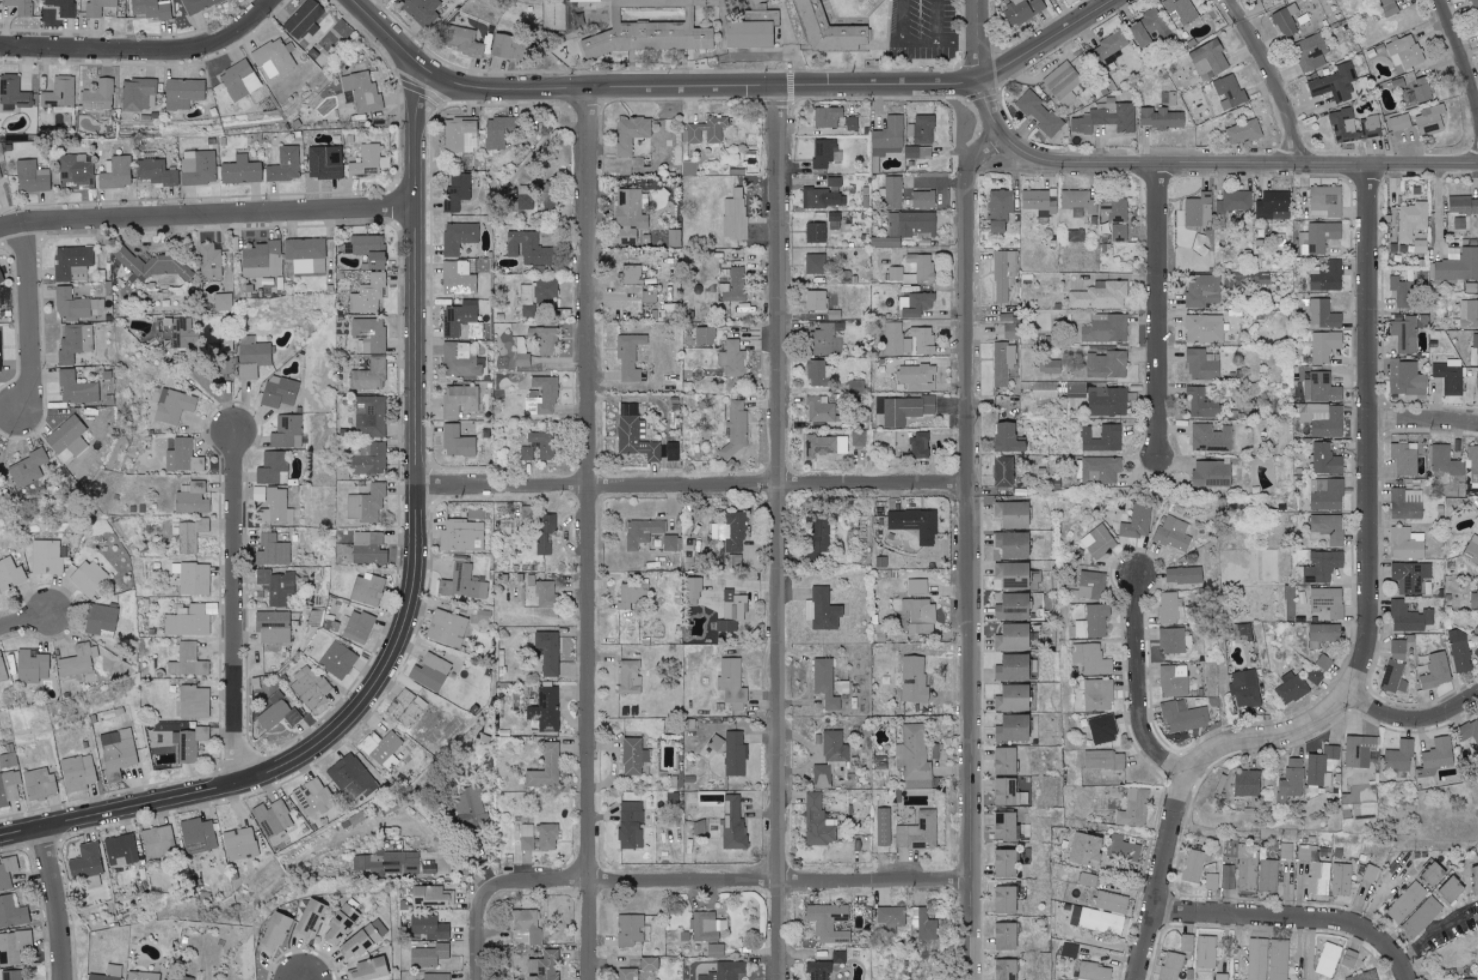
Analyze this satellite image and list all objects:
building: (582, 1)
building: (1472, 2)
building: (196, 5)
building: (756, 5)
building: (19, 7)
building: (61, 7)
building: (96, 7)
building: (1386, 7)
building: (149, 9)
building: (419, 10)
building: (1020, 10)
building: (1179, 10)
building: (552, 16)
building: (1477, 19)
building: (302, 20)
building: (1284, 20)
road: (936, 23)
building: (648, 28)
parking lot: (923, 29)
building: (1146, 29)
building: (750, 30)
building: (826, 30)
building: (463, 41)
road: (978, 41)
building: (1107, 46)
building: (505, 47)
road: (915, 47)
road: (143, 50)
building: (1403, 52)
building: (1308, 53)
road: (1461, 53)
building: (272, 58)
building: (1207, 60)
road: (1280, 78)
building: (237, 80)
building: (1060, 80)
building: (1333, 84)
road: (731, 87)
building: (1420, 89)
building: (1227, 90)
building: (361, 91)
building: (181, 92)
building: (12, 93)
building: (137, 93)
building: (58, 94)
building: (97, 95)
building: (1037, 114)
building: (825, 116)
building: (1158, 118)
building: (1104, 119)
building: (1427, 120)
building: (850, 122)
building: (1398, 122)
building: (1341, 125)
building: (1370, 126)
building: (920, 129)
building: (705, 130)
building: (497, 131)
building: (1241, 132)
building: (458, 133)
building: (629, 133)
building: (887, 136)
building: (916, 152)
building: (824, 153)
building: (366, 161)
building: (323, 162)
building: (283, 165)
road: (1203, 165)
building: (196, 167)
building: (239, 170)
building: (73, 171)
building: (113, 172)
building: (152, 172)
building: (30, 176)
building: (0, 177)
building: (455, 191)
building: (822, 195)
building: (524, 197)
building: (921, 199)
building: (1233, 201)
building: (1323, 201)
building: (1076, 202)
building: (1036, 204)
building: (1461, 204)
building: (1271, 205)
building: (1113, 208)
building: (997, 209)
building: (1197, 210)
building: (627, 214)
building: (733, 214)
road: (208, 217)
building: (1410, 219)
building: (832, 220)
building: (1457, 222)
building: (910, 223)
building: (813, 232)
building: (1117, 232)
building: (1073, 234)
building: (1317, 235)
building: (456, 236)
building: (673, 237)
building: (883, 241)
building: (1197, 243)
building: (1418, 246)
building: (525, 247)
building: (304, 254)
building: (261, 259)
building: (69, 260)
building: (208, 260)
building: (813, 263)
building: (150, 264)
building: (1456, 266)
building: (922, 270)
building: (630, 274)
building: (1001, 274)
building: (1324, 276)
building: (456, 277)
building: (0, 280)
building: (734, 285)
building: (1398, 289)
building: (1200, 290)
building: (647, 293)
building: (367, 294)
building: (535, 295)
building: (1098, 295)
building: (814, 300)
building: (222, 301)
building: (913, 303)
building: (69, 304)
road: (1159, 309)
building: (1317, 312)
building: (1468, 312)
road: (28, 320)
building: (460, 321)
building: (1104, 328)
building: (1202, 328)
building: (1009, 330)
building: (1402, 332)
building: (367, 334)
building: (703, 335)
building: (543, 339)
building: (825, 339)
building: (894, 339)
building: (921, 339)
building: (73, 342)
building: (1322, 345)
building: (1473, 349)
building: (251, 356)
building: (627, 356)
building: (731, 359)
building: (458, 360)
building: (1000, 362)
building: (1105, 364)
building: (225, 365)
building: (1199, 365)
building: (1050, 366)
building: (816, 373)
building: (368, 375)
building: (1447, 375)
building: (915, 377)
building: (1403, 378)
building: (854, 386)
building: (1319, 387)
building: (74, 388)
building: (1043, 390)
building: (1075, 390)
building: (278, 392)
building: (540, 396)
building: (457, 400)
building: (1105, 401)
building: (1200, 402)
building: (171, 405)
building: (818, 409)
building: (904, 409)
building: (368, 415)
building: (1324, 419)
road: (1423, 424)
building: (735, 427)
building: (285, 431)
building: (632, 433)
building: (1006, 437)
building: (1208, 437)
building: (1100, 438)
building: (65, 439)
building: (455, 441)
building: (823, 445)
building: (916, 445)
building: (537, 446)
building: (670, 451)
building: (181, 456)
building: (368, 458)
building: (1403, 458)
building: (1324, 459)
building: (1472, 464)
building: (1443, 465)
building: (271, 467)
building: (25, 468)
building: (1096, 469)
building: (1001, 471)
building: (1209, 474)
road: (693, 487)
building: (1324, 493)
building: (191, 498)
building: (1404, 503)
building: (271, 504)
building: (364, 504)
building: (1010, 513)
building: (1136, 521)
building: (913, 523)
road: (1368, 526)
building: (1325, 528)
building: (543, 532)
building: (640, 532)
building: (729, 532)
building: (187, 533)
road: (778, 533)
building: (1171, 533)
road: (590, 534)
building: (461, 535)
building: (815, 537)
building: (669, 542)
building: (1099, 542)
building: (1404, 543)
building: (1010, 544)
building: (366, 547)
building: (271, 550)
building: (1471, 550)
road: (969, 552)
building: (45, 557)
building: (733, 560)
building: (1319, 566)
building: (9, 573)
building: (1010, 574)
building: (1181, 575)
building: (1408, 576)
building: (191, 577)
building: (87, 578)
building: (462, 583)
road: (416, 585)
building: (1090, 585)
building: (275, 586)
building: (915, 586)
building: (366, 589)
building: (690, 591)
building: (543, 593)
building: (630, 594)
building: (1473, 599)
building: (1325, 601)
building: (732, 605)
building: (1010, 606)
building: (1168, 607)
road: (234, 609)
building: (806, 609)
building: (822, 609)
building: (918, 615)
building: (1407, 617)
building: (98, 618)
building: (189, 620)
building: (1091, 621)
road: (24, 625)
building: (271, 626)
building: (356, 626)
building: (445, 628)
building: (721, 630)
building: (1232, 631)
building: (1243, 631)
building: (1475, 631)
building: (1319, 634)
building: (1010, 637)
building: (1170, 640)
building: (1457, 650)
building: (546, 651)
building: (1475, 652)
building: (1090, 658)
building: (76, 660)
building: (186, 660)
building: (336, 660)
building: (1322, 662)
building: (30, 665)
building: (1010, 667)
building: (1394, 668)
building: (1434, 670)
building: (1, 671)
building: (430, 673)
building: (1313, 675)
building: (628, 677)
building: (909, 679)
building: (1172, 680)
building: (823, 682)
building: (730, 683)
building: (309, 687)
building: (842, 687)
building: (1288, 688)
building: (1243, 689)
road: (1141, 690)
building: (1095, 694)
building: (1010, 698)
building: (192, 701)
building: (405, 707)
building: (543, 709)
building: (111, 712)
building: (276, 712)
building: (1181, 716)
road: (1412, 726)
building: (1010, 728)
building: (1100, 729)
building: (1469, 733)
building: (188, 743)
building: (711, 746)
building: (832, 746)
building: (381, 749)
building: (1356, 750)
building: (116, 752)
building: (733, 753)
building: (632, 756)
building: (1396, 756)
building: (1435, 756)
building: (912, 757)
building: (1003, 760)
building: (1102, 760)
building: (1318, 766)
building: (544, 767)
building: (77, 772)
building: (820, 776)
building: (350, 777)
building: (1289, 780)
building: (1245, 783)
building: (38, 784)
building: (8, 786)
building: (1004, 791)
building: (311, 796)
building: (466, 803)
building: (1131, 808)
building: (1363, 811)
building: (270, 818)
building: (816, 821)
building: (731, 823)
building: (629, 825)
building: (1003, 825)
building: (881, 826)
building: (697, 827)
building: (917, 831)
building: (196, 835)
building: (525, 836)
building: (546, 836)
building: (157, 842)
building: (860, 843)
building: (238, 844)
building: (1121, 848)
building: (1083, 849)
building: (119, 850)
building: (1284, 850)
building: (1305, 852)
building: (385, 861)
building: (85, 862)
building: (1004, 863)
building: (1191, 866)
building: (1244, 868)
building: (6, 871)
building: (1369, 873)
building: (1431, 874)
building: (1266, 875)
building: (1473, 877)
building: (1317, 878)
building: (1339, 879)
building: (1085, 880)
road: (1161, 880)
building: (1209, 881)
road: (726, 883)
building: (1448, 889)
building: (430, 896)
building: (1003, 899)
building: (1110, 902)
building: (1404, 902)
road: (54, 904)
building: (11, 912)
building: (889, 916)
building: (1420, 917)
building: (1475, 917)
building: (307, 918)
road: (1293, 918)
building: (826, 922)
building: (1099, 922)
building: (338, 923)
building: (923, 923)
building: (523, 924)
building: (427, 926)
building: (705, 926)
building: (628, 929)
road: (1436, 931)
building: (273, 932)
road: (482, 932)
building: (1003, 936)
building: (361, 939)
building: (1184, 943)
building: (15, 945)
building: (713, 950)
building: (1067, 950)
building: (1204, 952)
building: (427, 955)
building: (1348, 958)
building: (1255, 959)
building: (1276, 959)
building: (1326, 959)
building: (647, 963)
building: (541, 966)
building: (1169, 966)
building: (367, 969)
building: (1003, 969)
building: (816, 970)
building: (723, 971)
building: (1092, 972)
building: (107, 973)
building: (625, 974)
building: (10, 975)
building: (141, 976)
building: (434, 976)
building: (1362, 976)
building: (181, 977)
building: (1467, 979)

